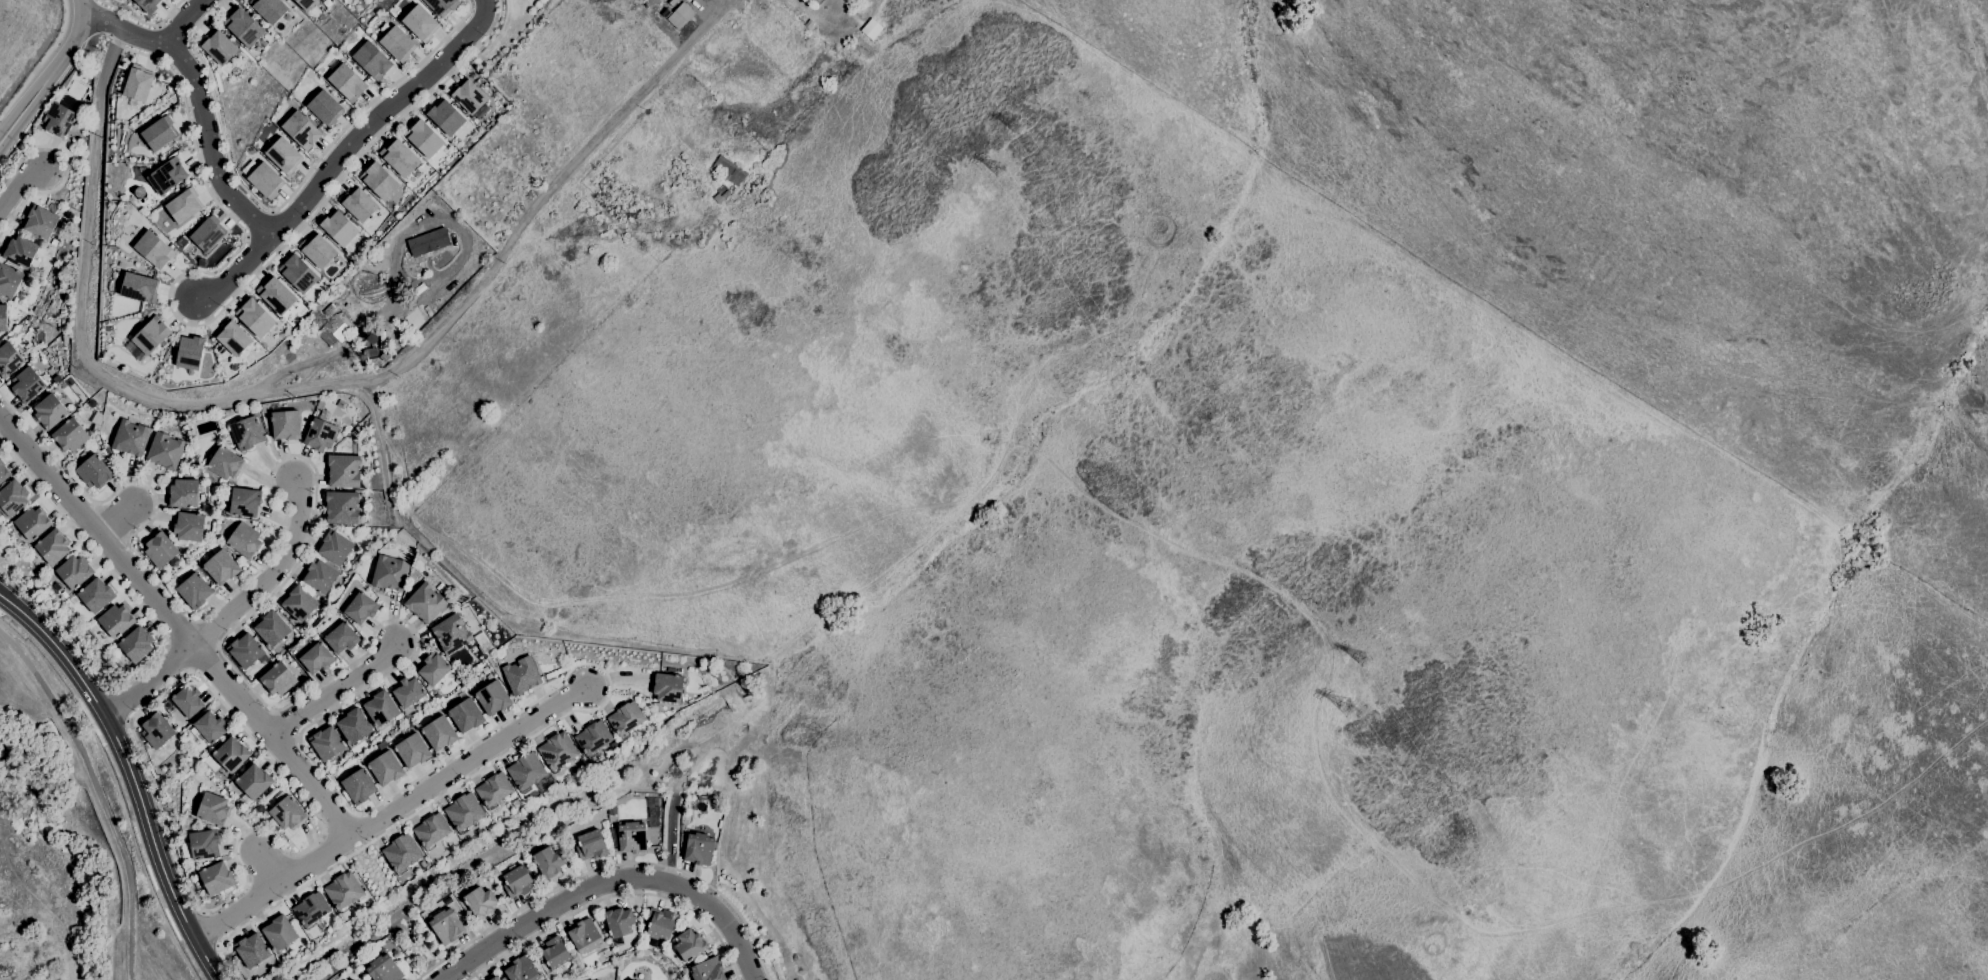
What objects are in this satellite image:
building: (815, 0)
road: (82, 1)
building: (311, 4)
building: (152, 5)
building: (445, 5)
road: (81, 7)
building: (277, 8)
building: (666, 12)
building: (680, 15)
road: (185, 18)
road: (141, 22)
building: (809, 23)
building: (247, 24)
building: (424, 24)
road: (125, 28)
building: (871, 28)
park: (500, 32)
building: (403, 44)
building: (225, 48)
building: (374, 60)
road: (41, 62)
road: (45, 80)
building: (348, 80)
building: (140, 83)
building: (471, 99)
building: (325, 107)
building: (349, 111)
building: (449, 117)
building: (59, 120)
power tower: (1020, 128)
building: (304, 131)
building: (161, 133)
building: (428, 138)
building: (286, 155)
building: (403, 160)
power tower: (998, 168)
road: (65, 169)
building: (728, 170)
building: (169, 175)
building: (268, 180)
building: (381, 182)
road: (18, 186)
road: (547, 189)
building: (722, 193)
road: (302, 204)
building: (363, 205)
building: (185, 207)
building: (41, 221)
building: (343, 228)
building: (207, 237)
building: (428, 242)
building: (53, 243)
building: (154, 249)
building: (323, 251)
building: (21, 252)
road: (391, 264)
building: (301, 271)
road: (237, 273)
building: (9, 279)
building: (136, 286)
building: (282, 294)
building: (261, 313)
road: (214, 315)
building: (3, 317)
building: (336, 329)
building: (151, 335)
building: (236, 337)
road: (81, 340)
building: (371, 350)
building: (192, 351)
building: (385, 356)
building: (9, 360)
building: (215, 372)
building: (27, 385)
road: (375, 399)
building: (318, 404)
building: (341, 404)
building: (50, 412)
building: (97, 418)
building: (286, 425)
building: (247, 433)
building: (320, 434)
building: (70, 436)
building: (131, 437)
building: (165, 451)
building: (225, 463)
building: (344, 471)
building: (3, 472)
building: (94, 472)
building: (184, 493)
building: (13, 498)
building: (245, 502)
building: (342, 507)
building: (221, 511)
road: (118, 521)
building: (33, 523)
building: (189, 526)
building: (244, 539)
building: (53, 546)
building: (335, 547)
building: (161, 549)
building: (221, 567)
building: (346, 568)
building: (74, 571)
building: (390, 573)
road: (270, 576)
building: (320, 576)
building: (194, 590)
building: (96, 595)
building: (425, 602)
building: (299, 604)
building: (361, 608)
building: (116, 620)
road: (177, 626)
building: (272, 628)
road: (411, 629)
road: (160, 630)
building: (451, 634)
building: (342, 637)
building: (136, 644)
building: (246, 651)
building: (317, 658)
power tower: (1368, 660)
building: (434, 668)
building: (670, 670)
building: (521, 675)
road: (620, 677)
building: (277, 679)
road: (149, 681)
building: (667, 687)
building: (408, 691)
road: (333, 692)
building: (493, 698)
building: (188, 700)
road: (121, 705)
building: (380, 708)
power tower: (1352, 709)
building: (466, 715)
building: (625, 719)
building: (354, 725)
building: (209, 728)
building: (156, 731)
building: (439, 733)
building: (593, 738)
building: (327, 743)
building: (412, 750)
building: (557, 751)
building: (231, 754)
building: (386, 768)
building: (526, 771)
road: (131, 774)
building: (253, 783)
building: (359, 786)
building: (493, 790)
road: (94, 795)
building: (213, 809)
building: (287, 811)
road: (390, 811)
building: (464, 812)
building: (431, 831)
building: (632, 837)
road: (671, 838)
road: (277, 839)
building: (204, 844)
building: (591, 845)
building: (698, 848)
building: (401, 853)
building: (549, 861)
road: (274, 867)
road: (605, 867)
building: (217, 878)
building: (518, 881)
road: (608, 882)
building: (343, 891)
road: (612, 897)
building: (480, 902)
building: (311, 910)
building: (619, 922)
building: (660, 922)
building: (446, 926)
road: (212, 928)
building: (279, 932)
building: (585, 936)
building: (690, 945)
building: (252, 950)
building: (553, 953)
building: (603, 955)
building: (384, 969)
building: (707, 969)
building: (521, 970)
building: (494, 978)
building: (352, 979)
building: (353, 979)
road: (442, 979)
building: (634, 979)

